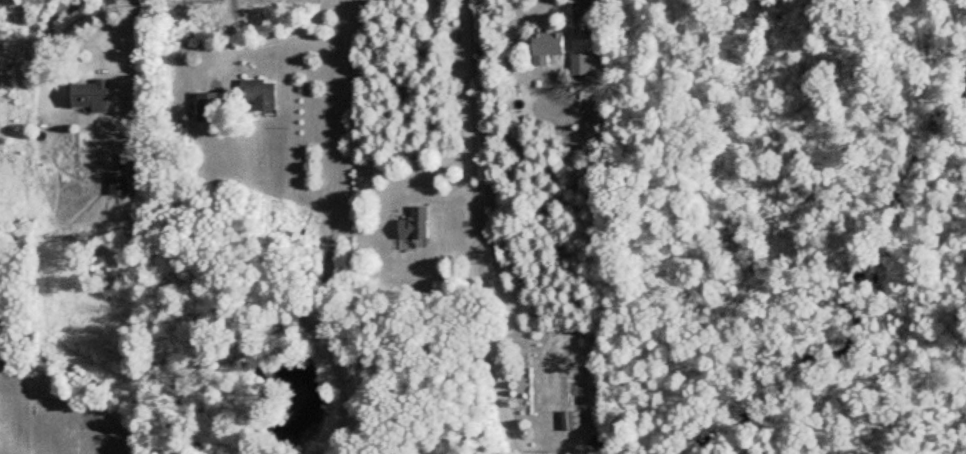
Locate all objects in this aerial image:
road: (134, 28)
building: (546, 46)
building: (580, 63)
building: (88, 93)
building: (259, 94)
building: (208, 106)
building: (118, 183)
building: (415, 224)
road: (333, 230)
road: (471, 232)
building: (568, 420)

